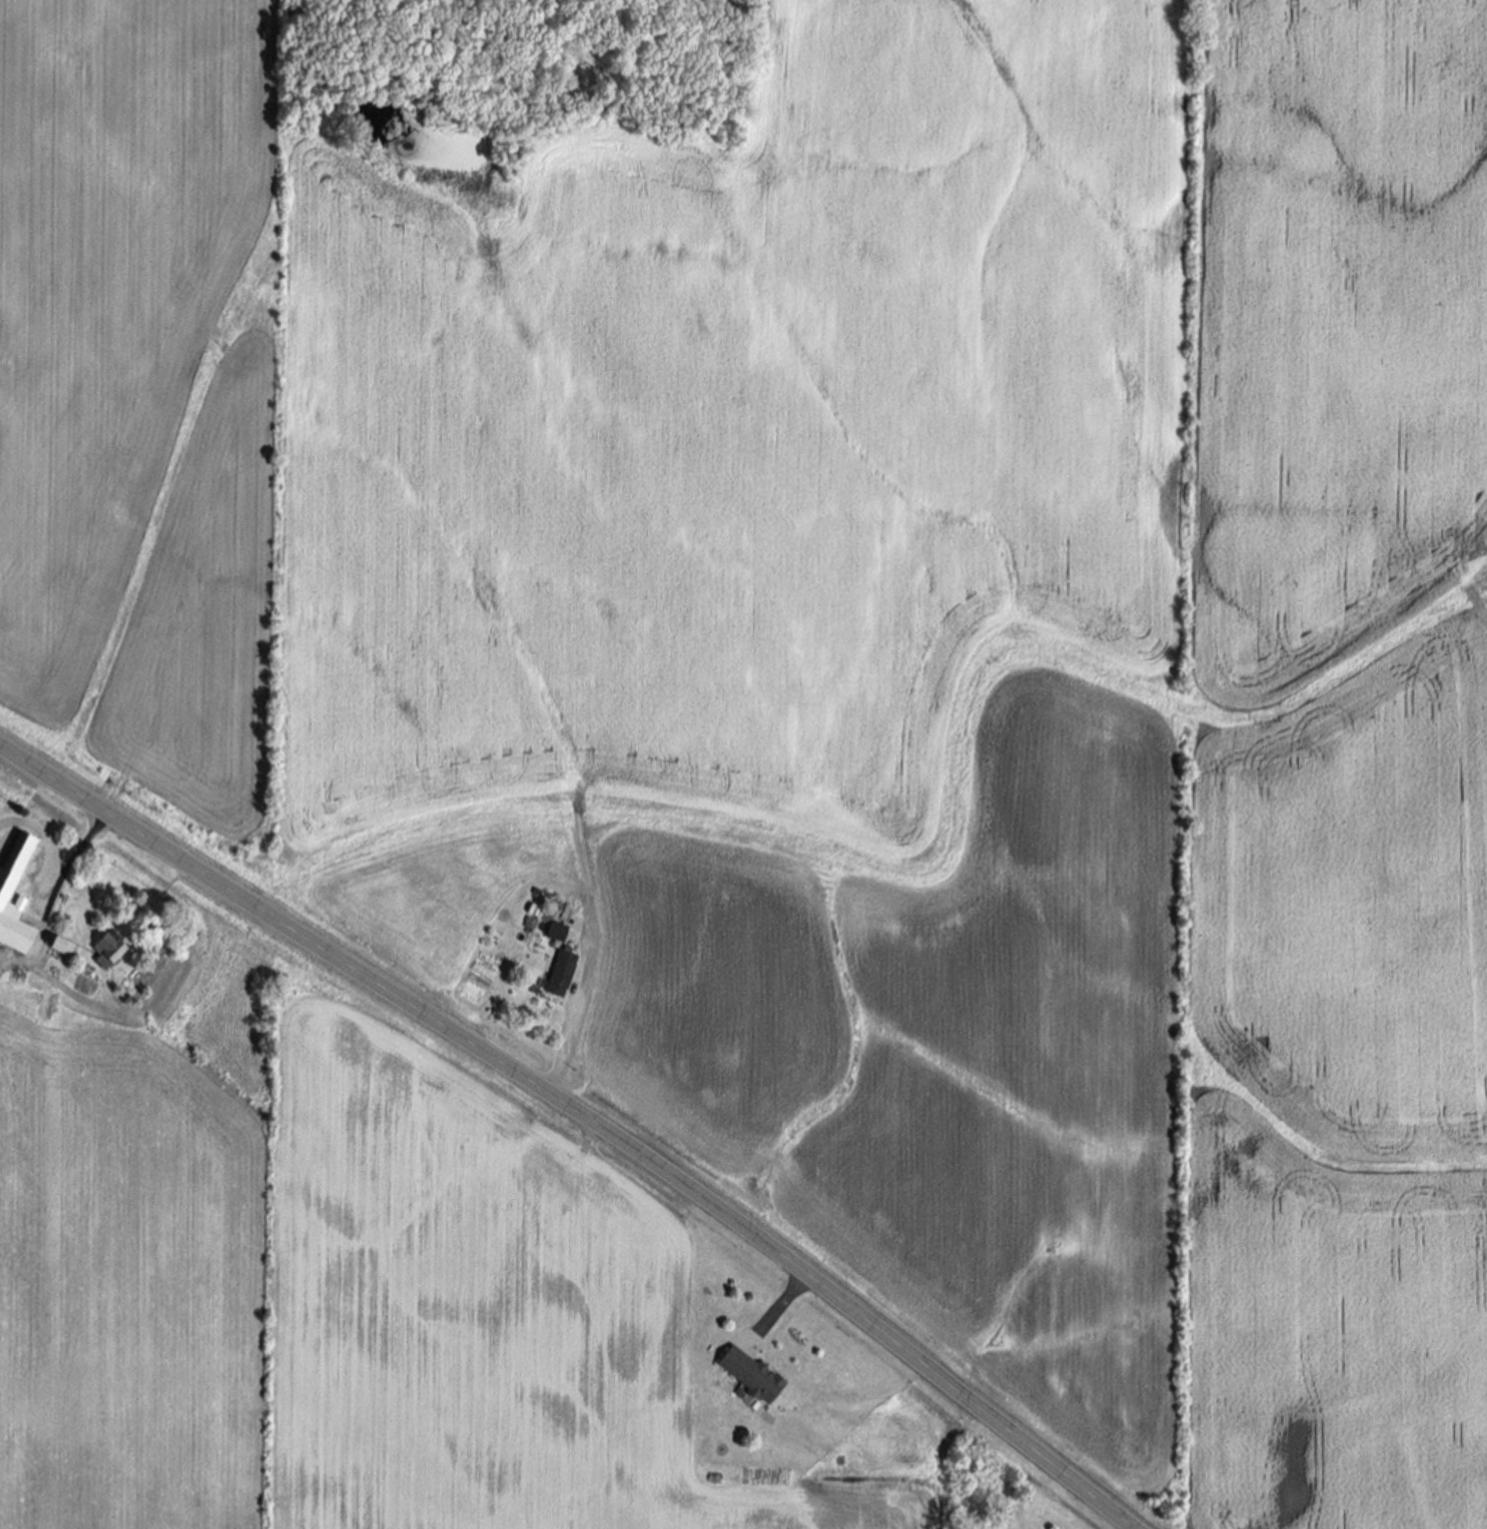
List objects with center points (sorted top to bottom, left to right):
road: (75, 853)
building: (15, 895)
building: (558, 938)
building: (63, 948)
building: (111, 951)
building: (563, 974)
road: (572, 1032)
road: (581, 1115)
road: (784, 1302)
building: (754, 1377)
road: (1129, 1528)

